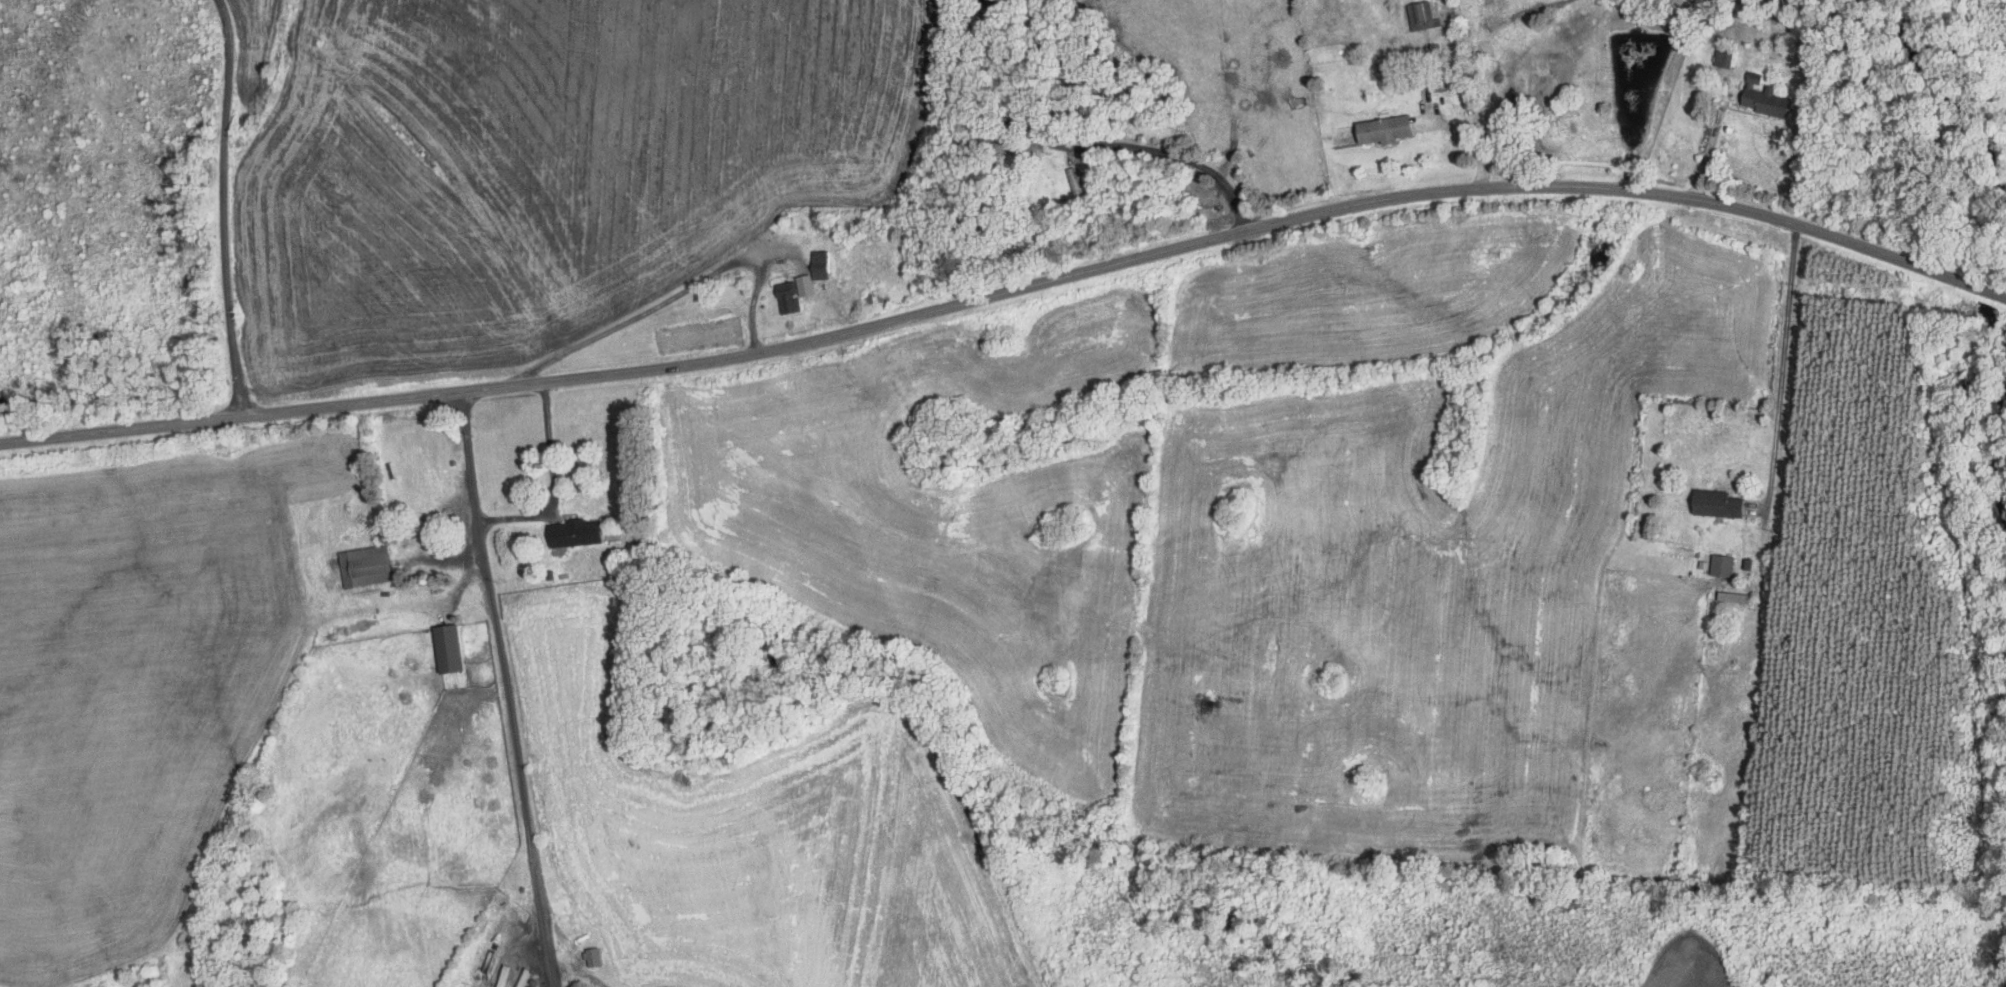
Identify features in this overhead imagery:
building: (1423, 13)
building: (1722, 59)
building: (1763, 95)
road: (1443, 124)
building: (1383, 127)
road: (1709, 143)
road: (1089, 145)
building: (1074, 181)
road: (225, 206)
road: (778, 252)
building: (819, 263)
building: (806, 286)
road: (1010, 289)
road: (674, 295)
building: (786, 296)
road: (1782, 363)
road: (552, 482)
building: (1715, 502)
building: (573, 531)
building: (364, 564)
building: (1721, 564)
building: (447, 647)
road: (506, 687)
building: (591, 956)

